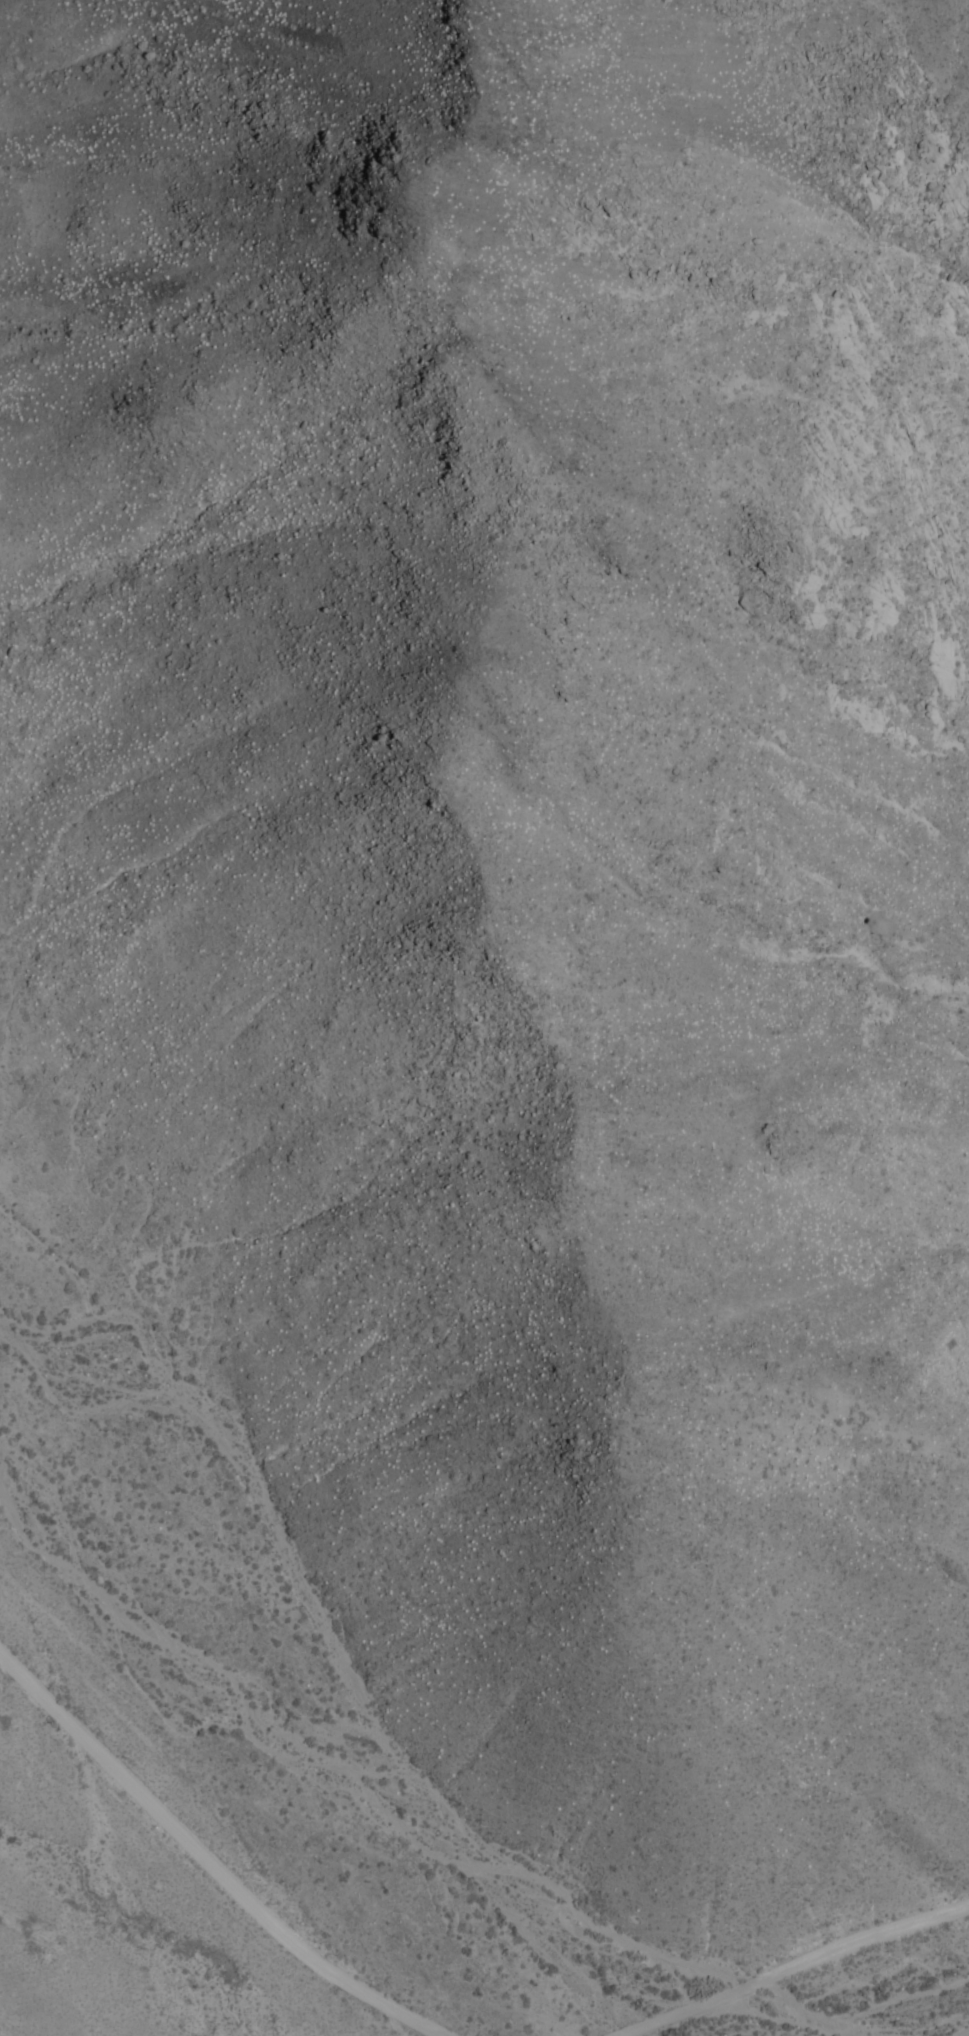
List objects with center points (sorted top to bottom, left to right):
road: (204, 1864)
road: (795, 1964)

